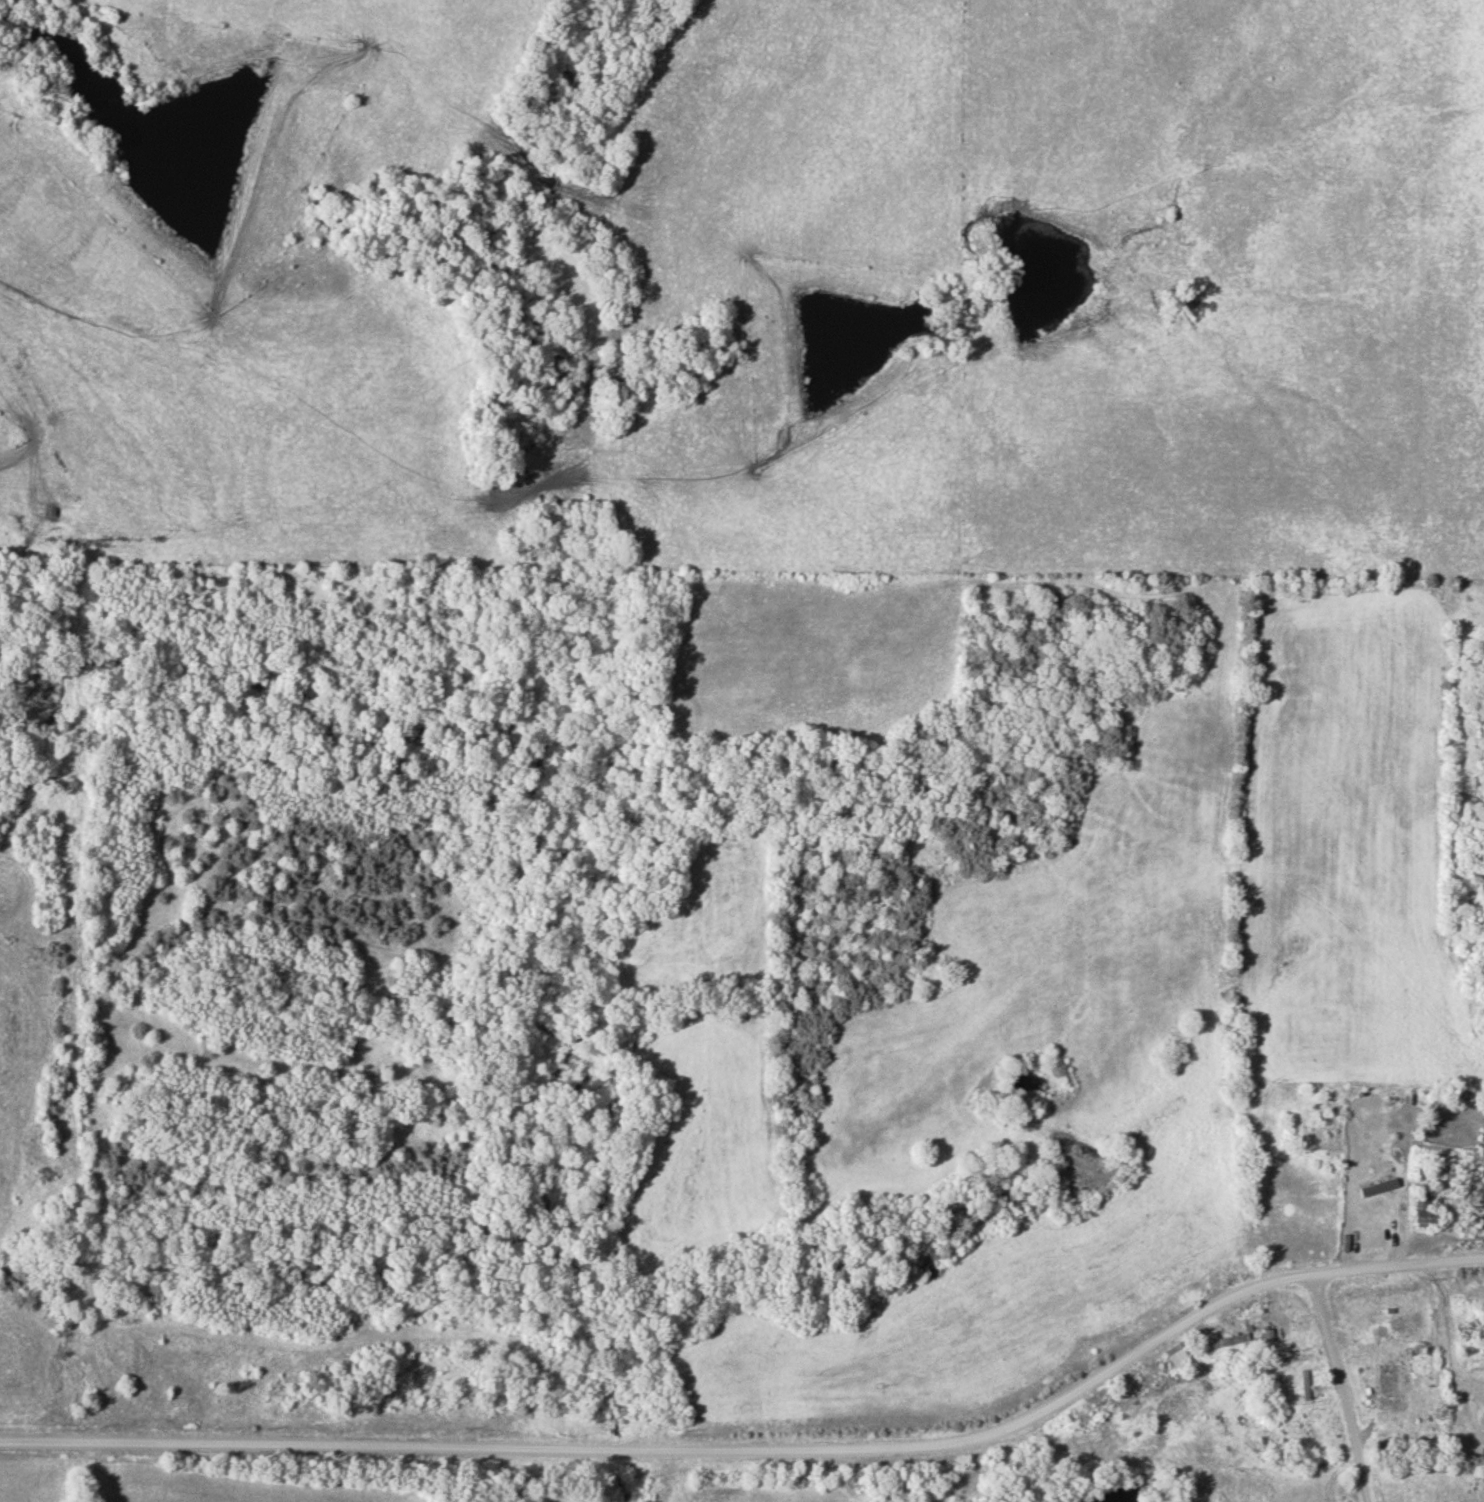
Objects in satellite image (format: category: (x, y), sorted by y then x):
building: (1421, 1037)
building: (1427, 1210)
building: (1358, 1215)
road: (1396, 1267)
building: (1230, 1339)
building: (1390, 1385)
road: (1344, 1388)
road: (674, 1452)

